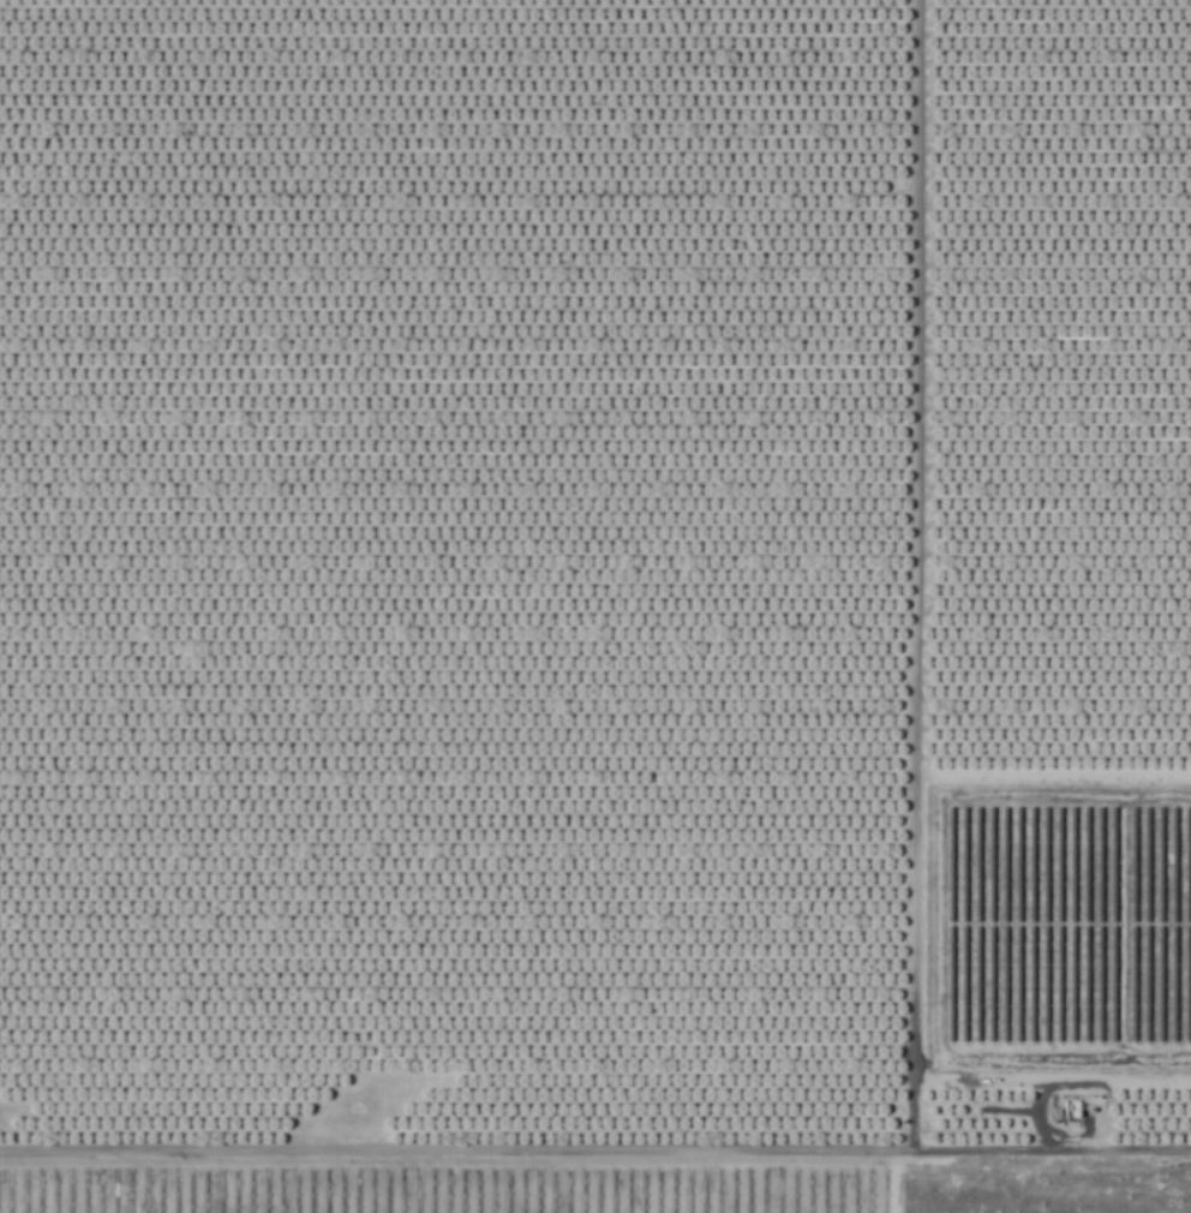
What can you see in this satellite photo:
road: (908, 579)
crop: (595, 584)
solar farm: (1055, 934)
road: (594, 1157)

